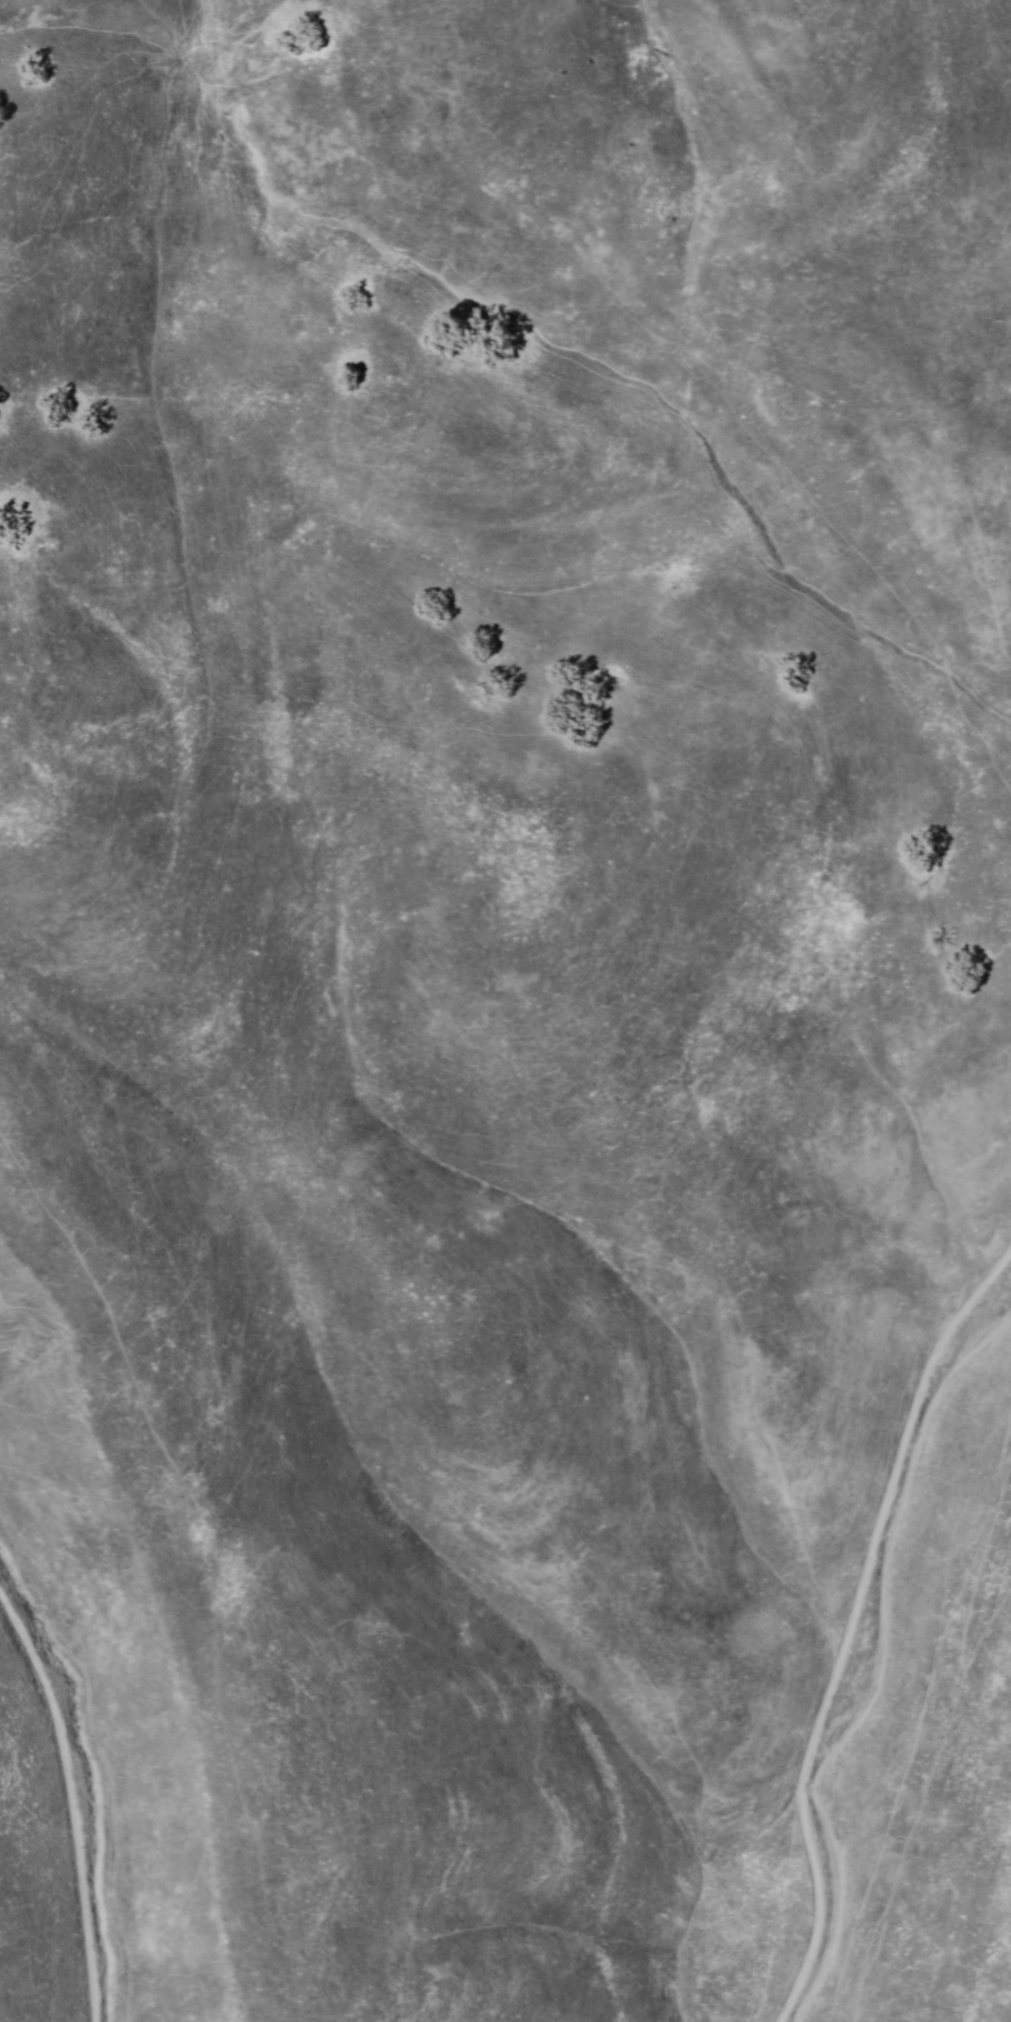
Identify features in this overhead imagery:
road: (848, 1621)
road: (64, 1809)

